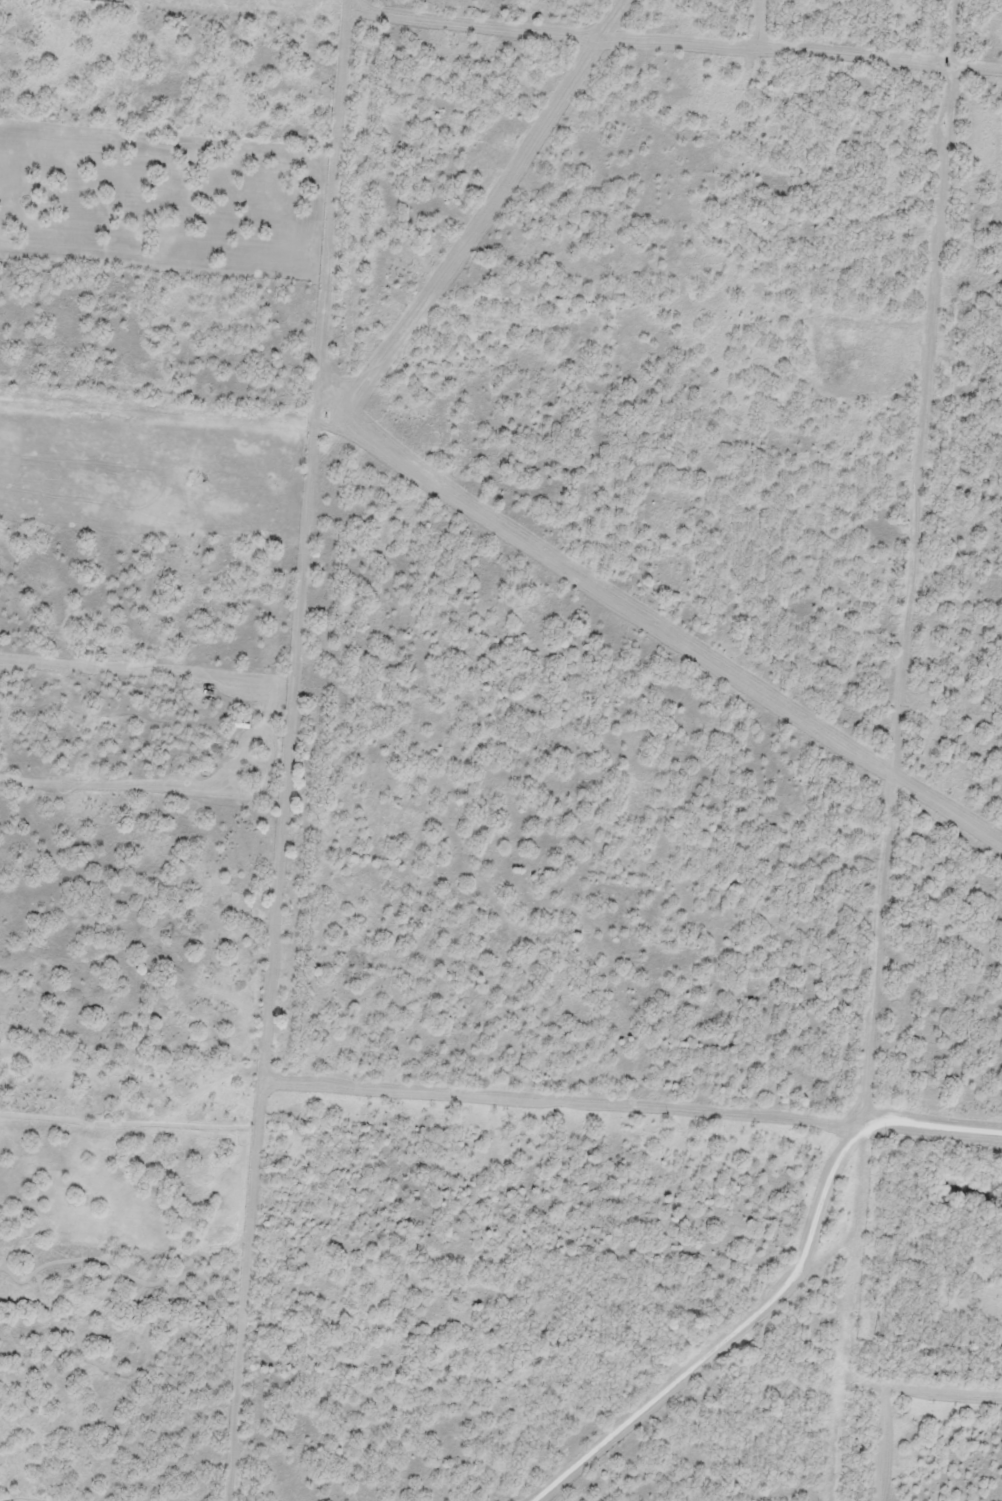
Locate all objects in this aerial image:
road: (501, 1263)
road: (431, 1303)
road: (859, 1431)

